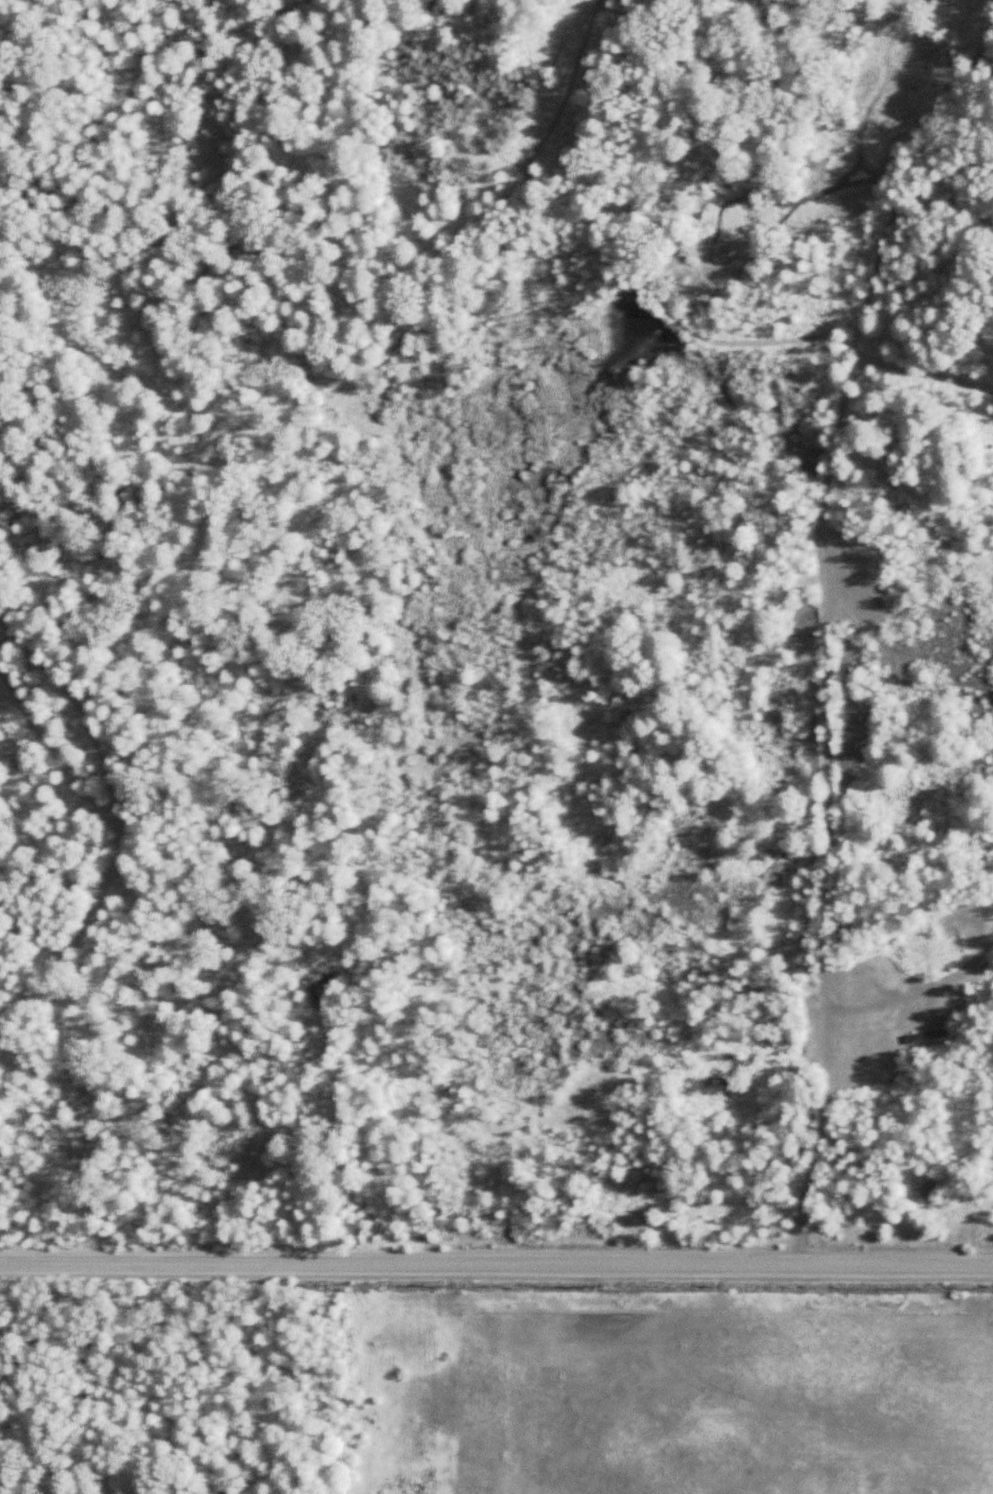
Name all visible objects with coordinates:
building: (928, 1035)
road: (496, 1267)

